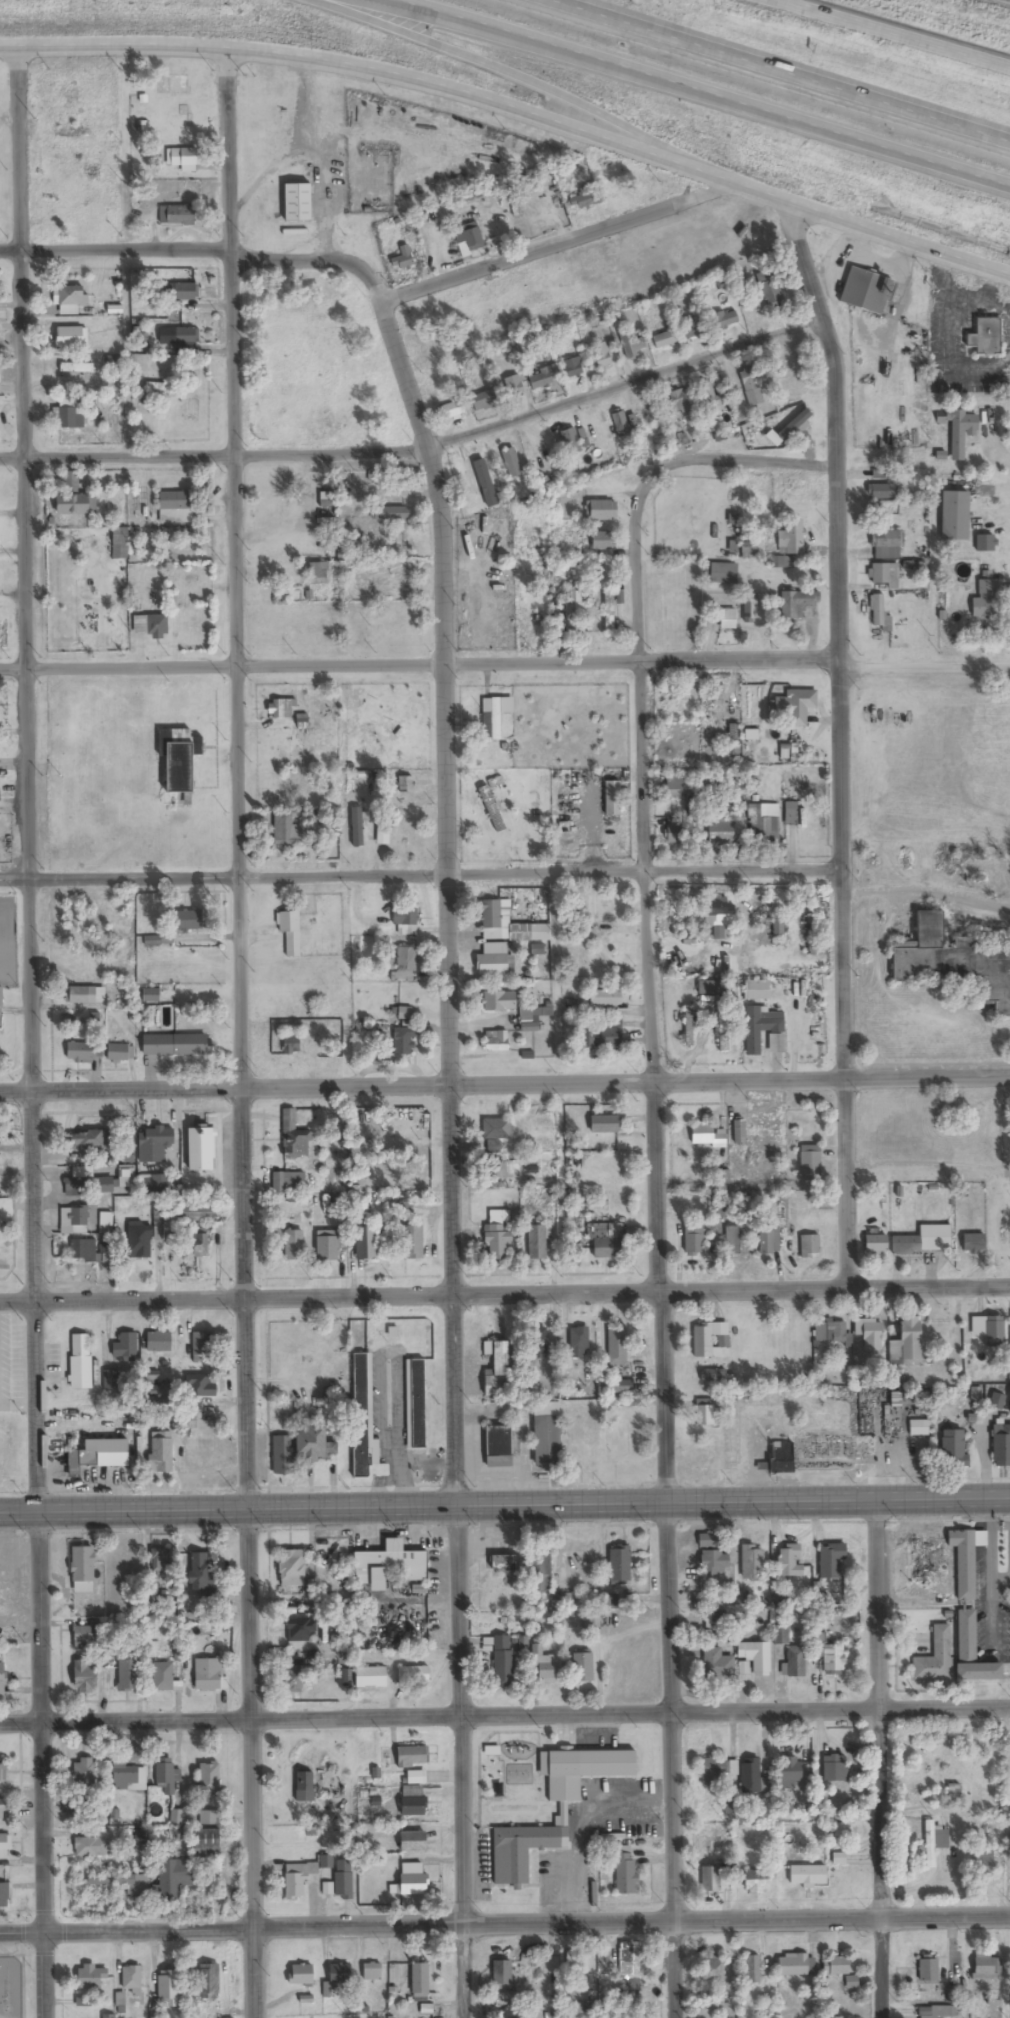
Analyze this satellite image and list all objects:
road: (892, 33)
road: (779, 71)
road: (507, 72)
building: (171, 85)
road: (698, 90)
road: (513, 113)
building: (183, 159)
building: (582, 201)
building: (298, 204)
building: (177, 215)
building: (469, 239)
building: (403, 260)
road: (373, 285)
building: (770, 289)
building: (866, 291)
building: (180, 292)
building: (69, 299)
building: (725, 320)
building: (692, 330)
building: (71, 337)
building: (987, 338)
building: (665, 340)
building: (629, 345)
building: (602, 356)
building: (115, 361)
building: (780, 364)
building: (76, 368)
building: (573, 368)
building: (543, 378)
building: (155, 387)
building: (514, 387)
building: (751, 388)
building: (713, 398)
building: (485, 402)
building: (682, 402)
building: (68, 413)
building: (450, 413)
building: (620, 424)
building: (794, 426)
building: (959, 430)
road: (417, 440)
building: (570, 442)
building: (511, 463)
building: (882, 474)
building: (485, 483)
building: (881, 491)
building: (175, 500)
building: (325, 503)
building: (75, 504)
building: (602, 510)
building: (391, 513)
building: (955, 516)
building: (345, 525)
building: (733, 533)
building: (791, 536)
building: (604, 541)
building: (119, 543)
building: (985, 543)
building: (886, 544)
building: (748, 547)
building: (785, 562)
building: (318, 573)
building: (723, 573)
building: (884, 574)
building: (985, 596)
building: (797, 602)
building: (749, 607)
building: (877, 608)
building: (570, 609)
building: (609, 611)
building: (556, 616)
building: (727, 618)
building: (157, 626)
road: (505, 663)
building: (673, 702)
building: (800, 706)
building: (280, 710)
building: (492, 721)
building: (302, 722)
road: (838, 740)
building: (179, 758)
building: (405, 784)
building: (674, 787)
building: (612, 798)
building: (491, 809)
building: (790, 813)
building: (764, 822)
building: (674, 830)
building: (727, 830)
building: (289, 831)
road: (420, 872)
building: (762, 911)
building: (718, 912)
building: (677, 916)
building: (186, 920)
building: (405, 920)
building: (499, 922)
building: (778, 928)
building: (290, 931)
building: (540, 932)
building: (152, 940)
building: (953, 959)
building: (493, 960)
building: (405, 965)
building: (708, 987)
building: (756, 989)
building: (82, 995)
building: (150, 995)
building: (605, 998)
building: (0, 999)
building: (499, 1001)
building: (529, 1019)
building: (687, 1028)
building: (763, 1030)
road: (31, 1032)
road: (235, 1033)
building: (403, 1041)
building: (495, 1041)
building: (291, 1044)
building: (177, 1045)
building: (83, 1052)
building: (118, 1052)
road: (505, 1086)
building: (605, 1124)
building: (814, 1128)
building: (496, 1129)
building: (739, 1130)
building: (706, 1136)
building: (293, 1137)
building: (89, 1141)
building: (155, 1142)
road: (450, 1148)
building: (201, 1149)
road: (655, 1150)
building: (810, 1162)
building: (97, 1182)
building: (288, 1182)
building: (154, 1185)
building: (195, 1212)
building: (74, 1218)
building: (105, 1223)
building: (496, 1235)
building: (694, 1238)
building: (139, 1239)
building: (606, 1240)
building: (736, 1240)
building: (925, 1240)
building: (768, 1241)
building: (412, 1242)
building: (537, 1242)
building: (974, 1242)
building: (197, 1243)
building: (366, 1243)
building: (876, 1243)
building: (293, 1245)
building: (809, 1245)
building: (328, 1247)
building: (82, 1250)
road: (505, 1295)
building: (994, 1331)
building: (869, 1333)
building: (819, 1336)
building: (713, 1339)
building: (158, 1340)
building: (579, 1342)
building: (904, 1342)
building: (201, 1343)
building: (124, 1348)
building: (617, 1348)
building: (79, 1362)
building: (500, 1368)
building: (712, 1375)
building: (110, 1380)
building: (201, 1387)
building: (613, 1393)
building: (150, 1404)
building: (415, 1405)
building: (329, 1410)
building: (705, 1413)
building: (207, 1416)
building: (364, 1418)
building: (918, 1427)
building: (562, 1440)
building: (998, 1442)
building: (314, 1445)
building: (496, 1445)
building: (952, 1450)
building: (159, 1452)
building: (282, 1456)
building: (705, 1458)
building: (776, 1459)
building: (83, 1462)
road: (504, 1509)
building: (709, 1541)
building: (790, 1559)
building: (833, 1561)
building: (945, 1561)
building: (394, 1562)
building: (714, 1562)
building: (502, 1563)
building: (752, 1563)
building: (160, 1564)
building: (620, 1566)
building: (292, 1568)
building: (83, 1569)
building: (201, 1573)
building: (777, 1597)
building: (567, 1601)
building: (715, 1623)
building: (301, 1631)
building: (87, 1636)
building: (972, 1653)
building: (827, 1655)
building: (756, 1657)
building: (935, 1658)
building: (503, 1662)
building: (796, 1663)
building: (717, 1665)
building: (546, 1666)
building: (583, 1667)
building: (208, 1675)
building: (128, 1676)
building: (411, 1676)
building: (162, 1677)
building: (85, 1678)
building: (344, 1678)
building: (371, 1678)
building: (2, 1679)
road: (505, 1709)
building: (412, 1758)
road: (881, 1762)
building: (790, 1769)
building: (835, 1769)
building: (3, 1772)
building: (712, 1773)
building: (83, 1775)
building: (750, 1776)
building: (165, 1777)
building: (129, 1778)
building: (209, 1778)
building: (416, 1778)
building: (304, 1787)
building: (413, 1804)
building: (3, 1809)
building: (176, 1818)
building: (209, 1819)
building: (208, 1840)
building: (413, 1842)
building: (934, 1843)
building: (90, 1845)
building: (5, 1847)
building: (519, 1852)
building: (985, 1862)
building: (625, 1875)
building: (808, 1875)
building: (173, 1880)
building: (299, 1880)
building: (344, 1880)
building: (413, 1880)
building: (710, 1881)
building: (115, 1882)
building: (756, 1883)
building: (4, 1895)
road: (505, 1925)
building: (629, 1964)
building: (577, 1966)
building: (793, 1966)
building: (839, 1966)
building: (987, 1968)
building: (751, 1970)
building: (929, 1970)
building: (713, 1971)
building: (372, 1973)
building: (502, 1974)
building: (301, 1975)
building: (339, 1975)
building: (91, 1977)
building: (131, 1980)
building: (539, 1980)
building: (420, 1981)
building: (208, 1982)
building: (852, 1983)
building: (169, 1989)
building: (583, 2010)
building: (930, 2014)
building: (108, 2017)

